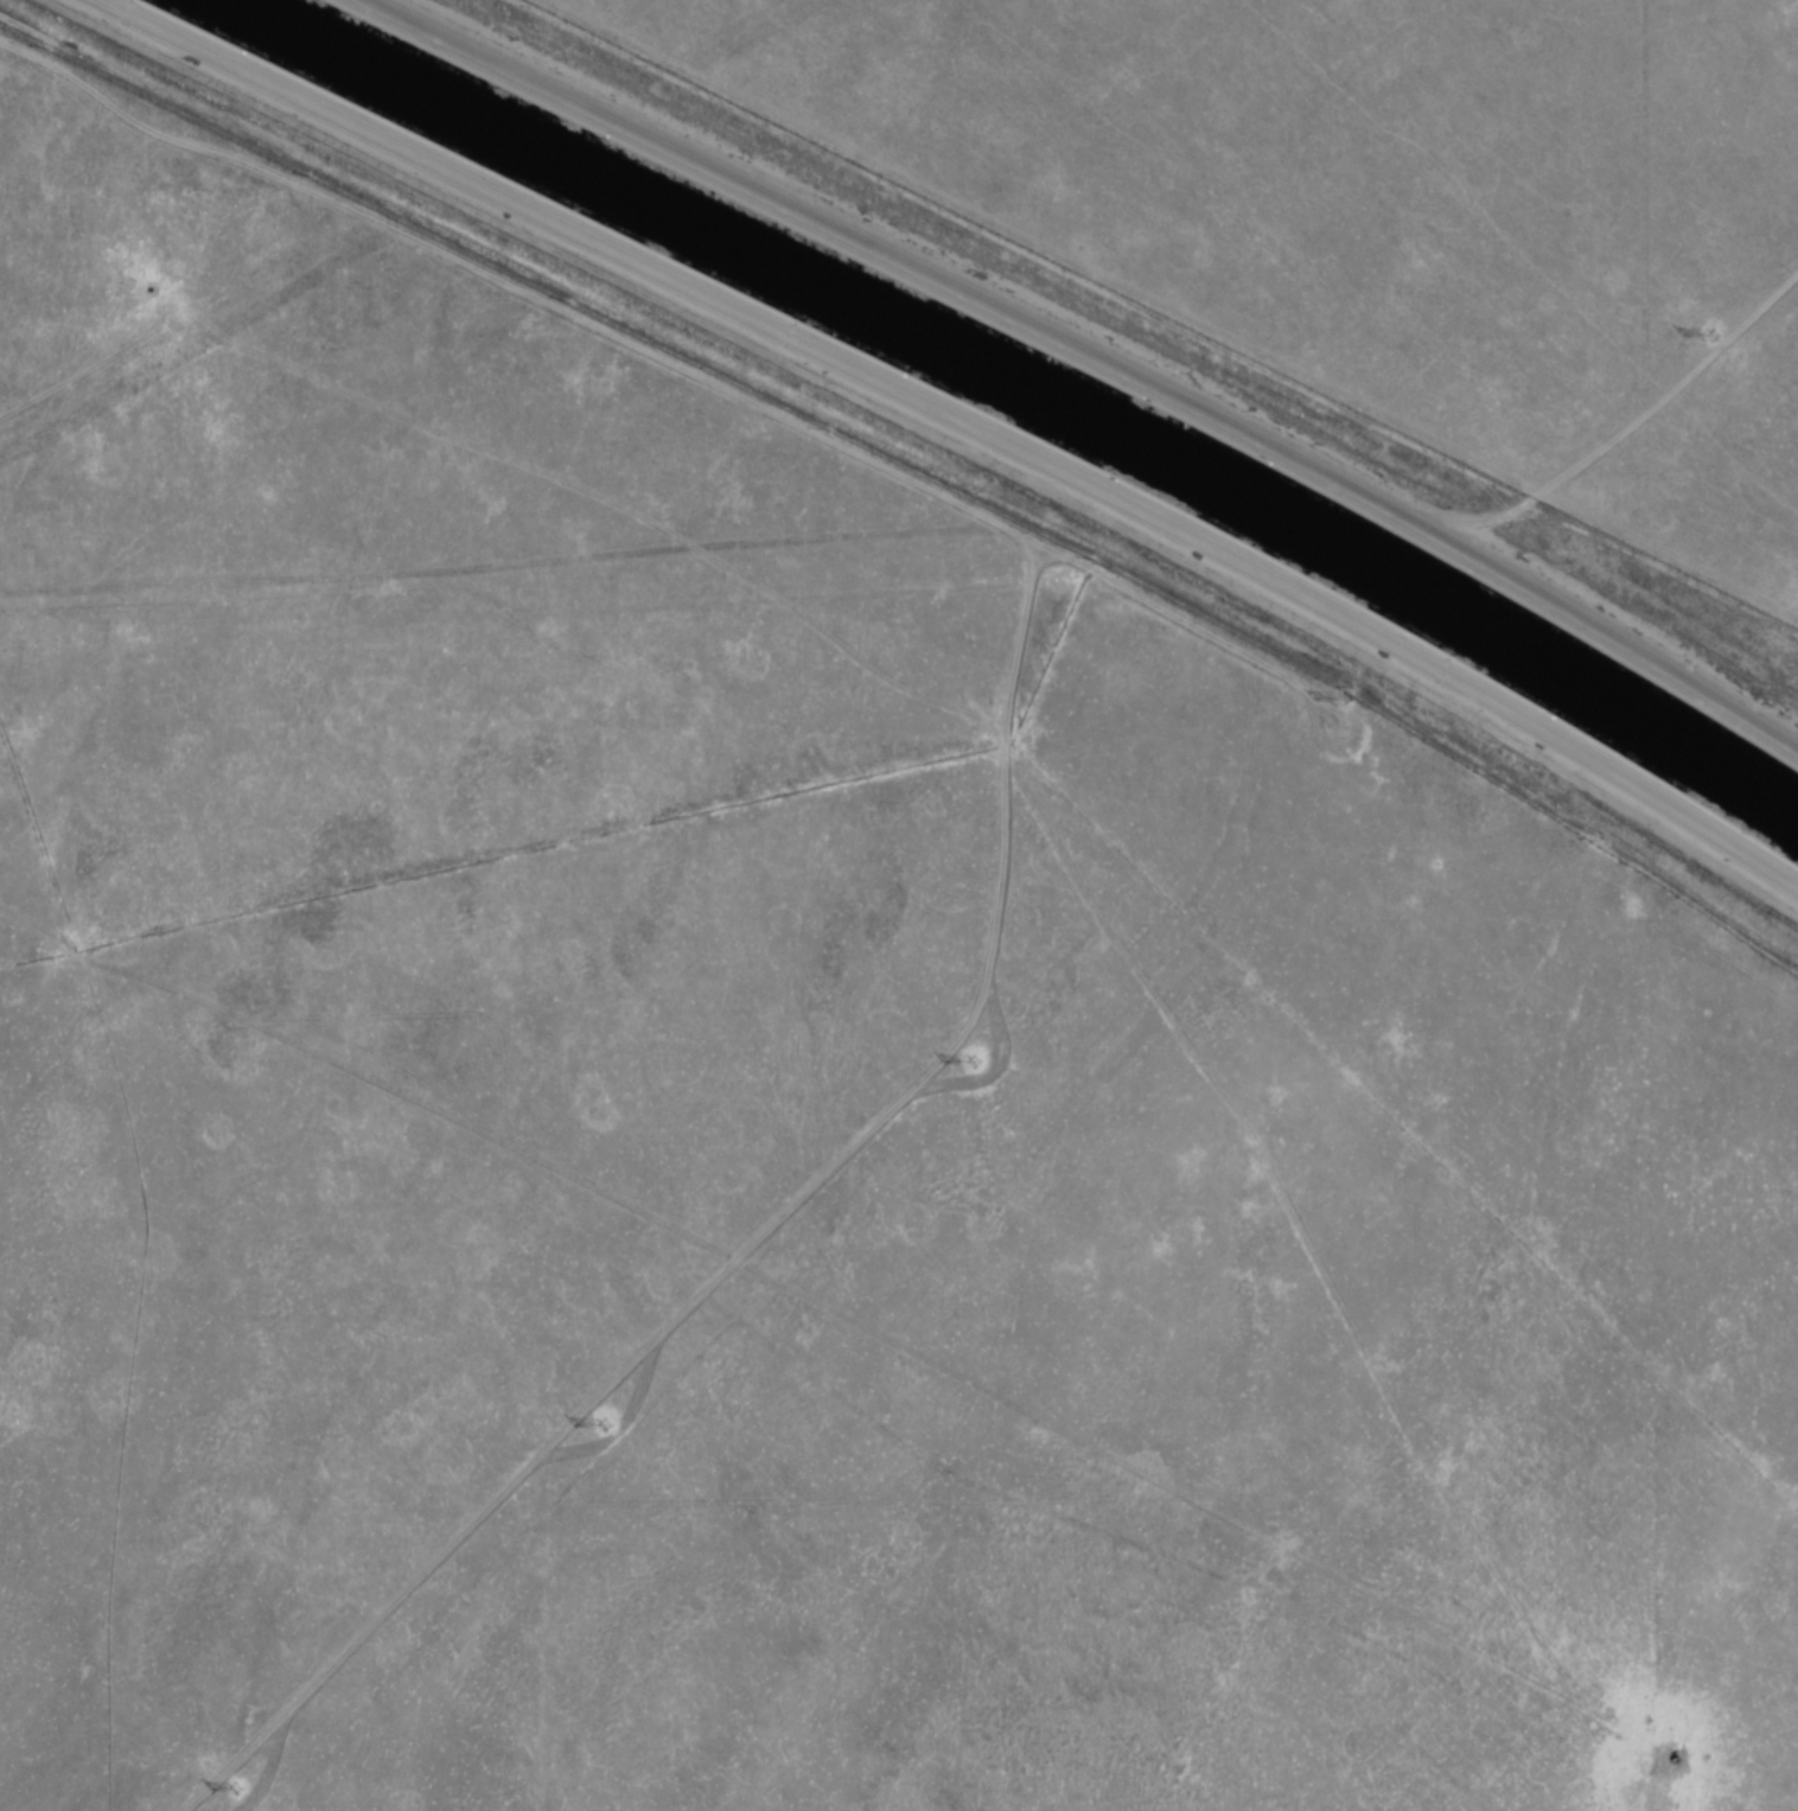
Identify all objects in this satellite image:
road: (1159, 314)
power tower: (1716, 329)
road: (1096, 355)
road: (959, 421)
road: (1485, 515)
power tower: (1346, 691)
power tower: (975, 1059)
power tower: (607, 1422)
power tower: (238, 1785)

